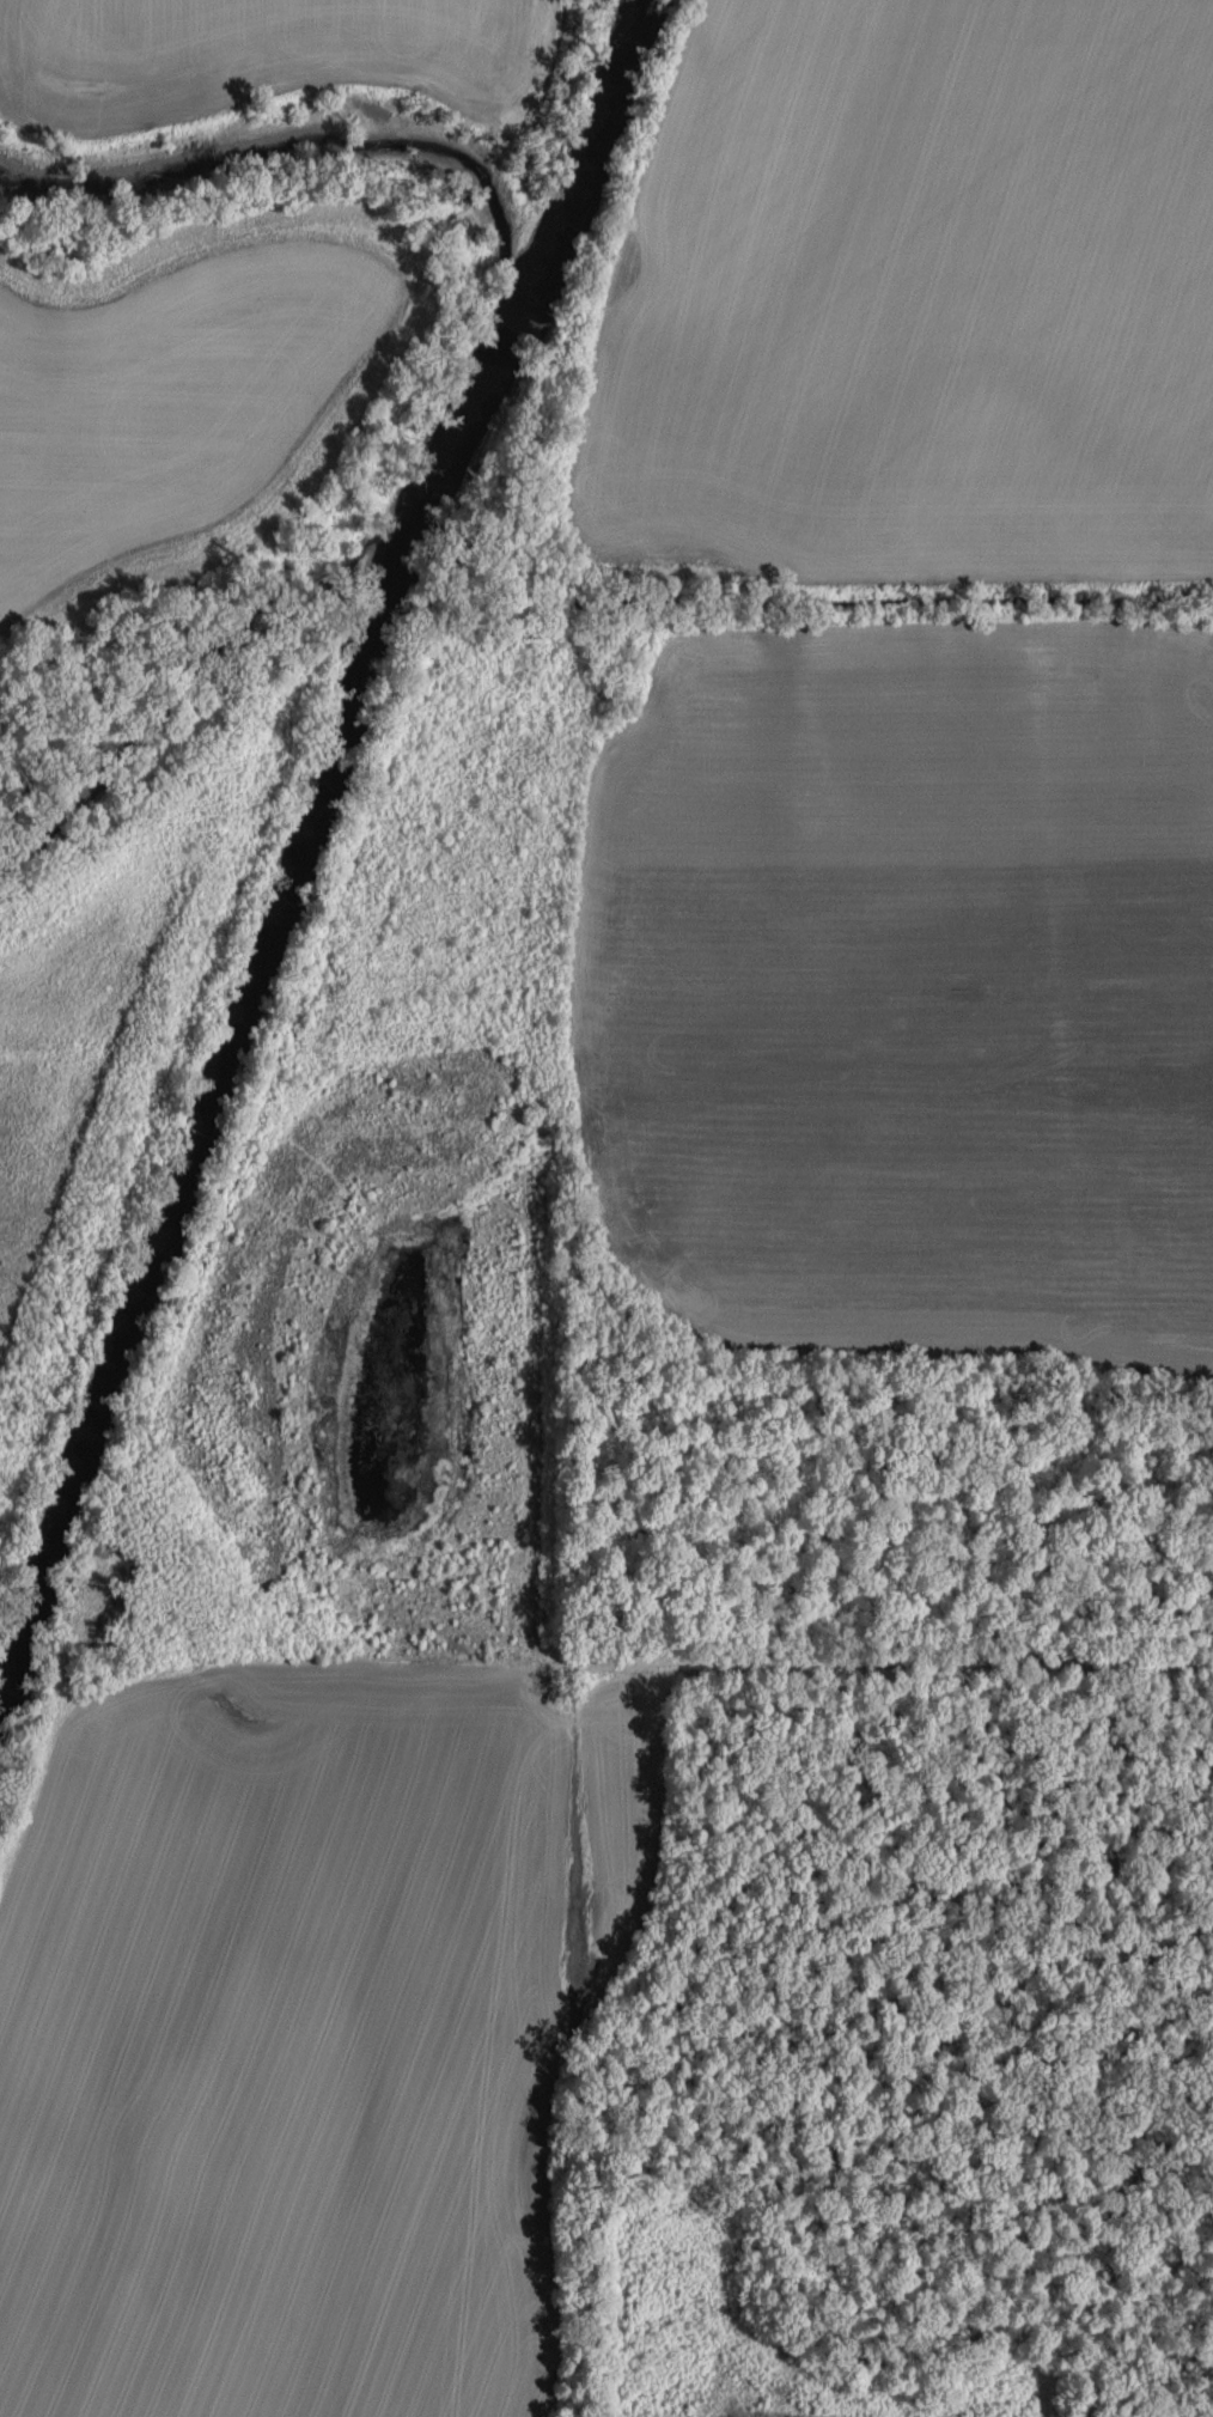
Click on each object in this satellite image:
river: (496, 364)

